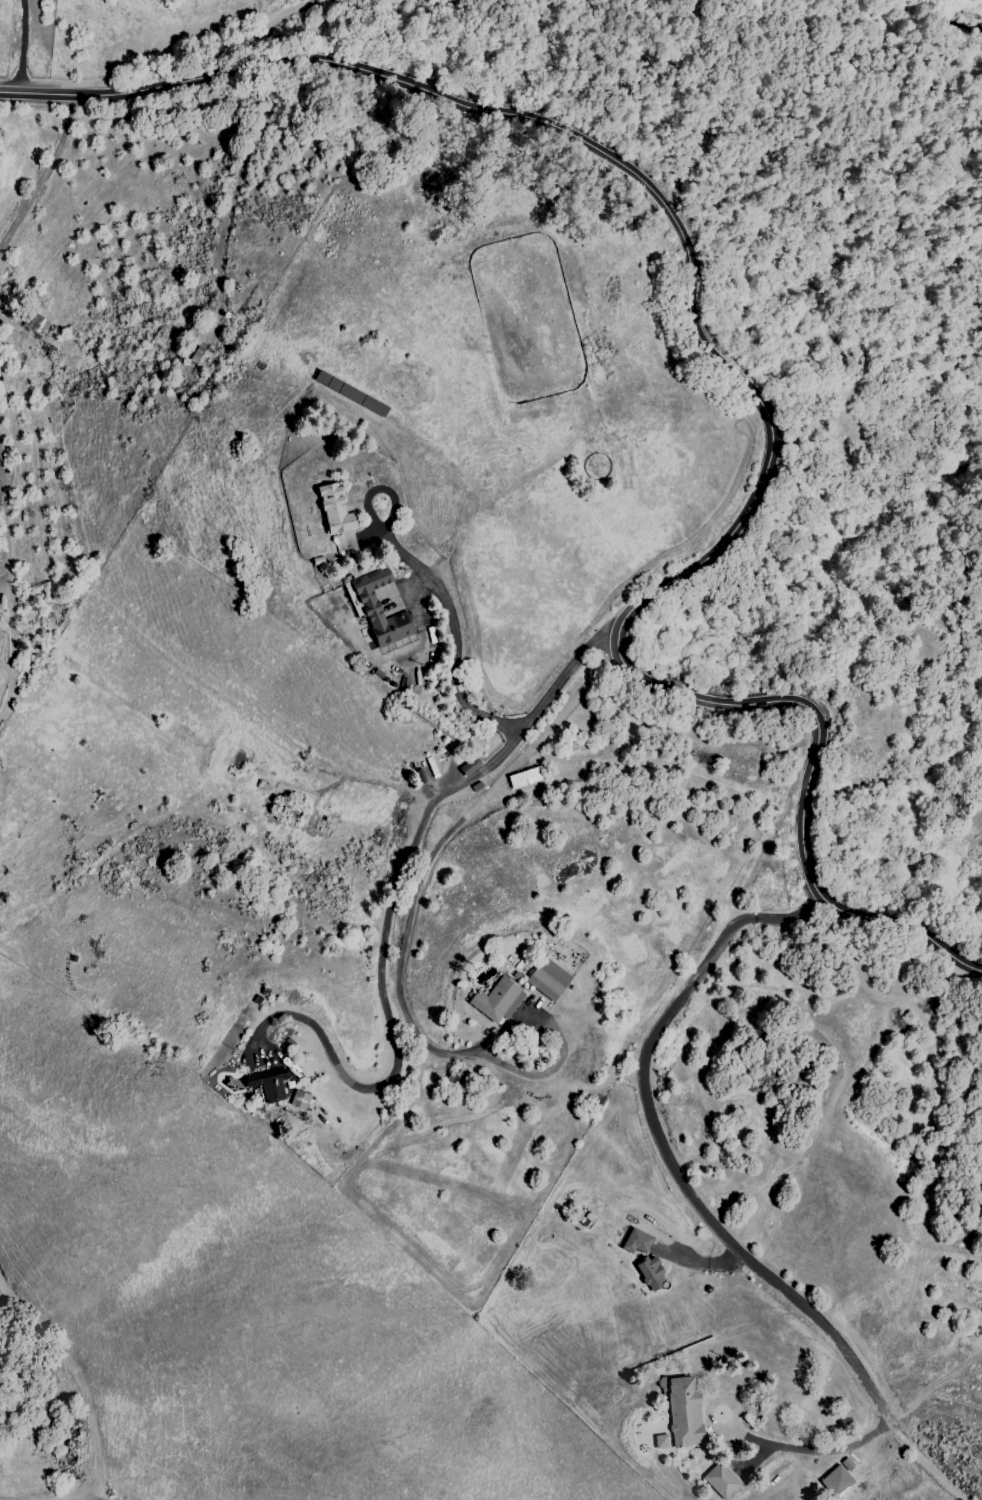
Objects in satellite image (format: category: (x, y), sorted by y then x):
road: (21, 46)
road: (550, 54)
road: (60, 94)
road: (42, 173)
building: (200, 357)
communications tower: (201, 382)
road: (773, 439)
building: (343, 511)
road: (9, 594)
building: (385, 611)
road: (457, 667)
road: (394, 900)
road: (402, 952)
building: (551, 979)
building: (500, 1000)
building: (269, 1085)
building: (299, 1099)
road: (692, 1199)
building: (639, 1241)
building: (655, 1274)
building: (686, 1411)
building: (663, 1441)
road: (821, 1453)
building: (723, 1480)
building: (839, 1482)

